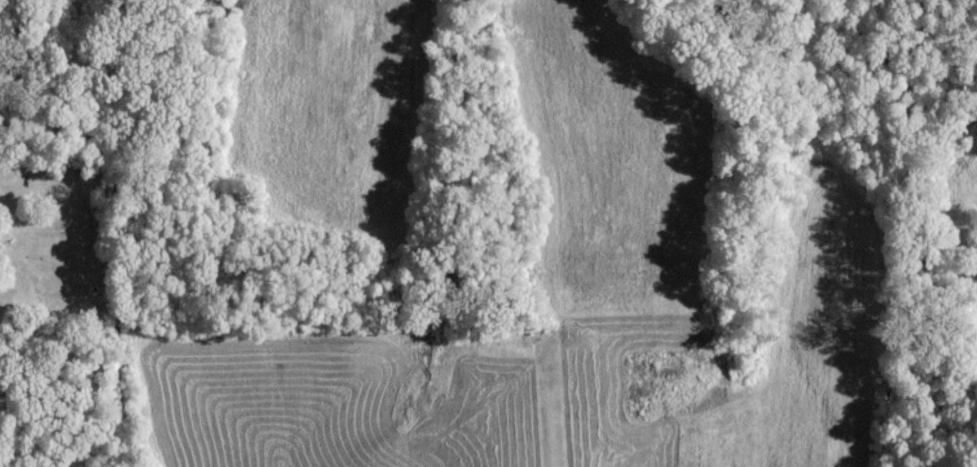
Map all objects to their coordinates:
building: (0, 243)
crop: (509, 401)
road: (553, 410)

